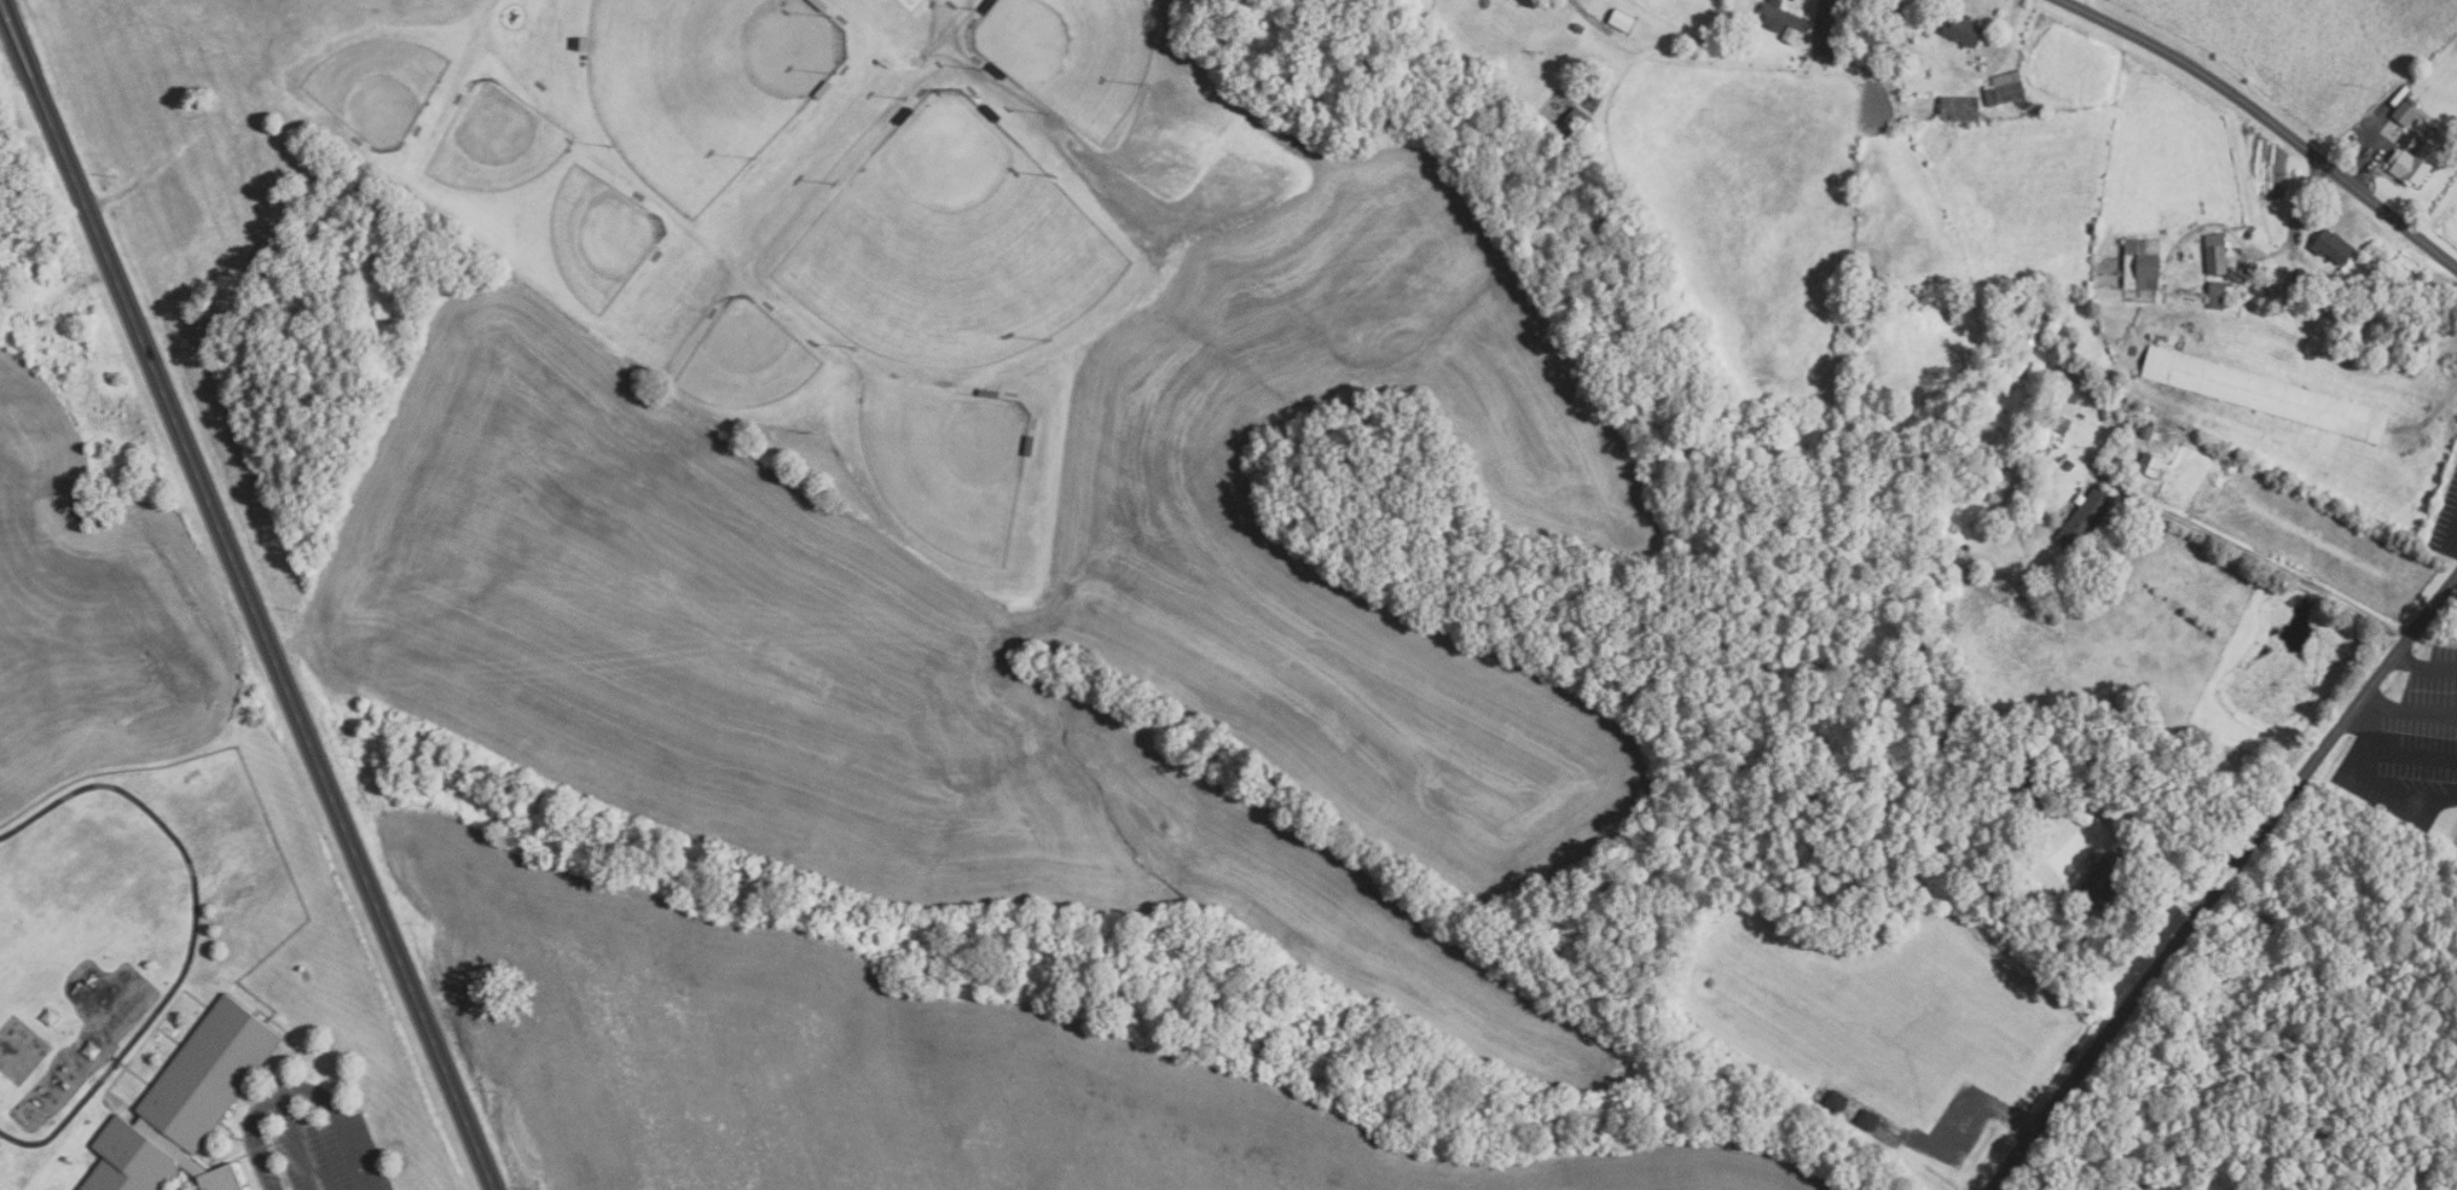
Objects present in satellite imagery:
building: (1888, 16)
building: (1780, 17)
building: (1621, 21)
building: (1578, 28)
building: (1964, 30)
building: (1791, 34)
building: (1926, 34)
park: (1073, 54)
building: (1823, 54)
park: (706, 83)
building: (2006, 91)
building: (1959, 109)
building: (2405, 114)
road: (2268, 120)
road: (2365, 155)
building: (2415, 164)
road: (2302, 199)
crop: (2445, 217)
park: (952, 246)
building: (2334, 246)
building: (2215, 254)
building: (2142, 263)
building: (2301, 283)
building: (2216, 295)
building: (2075, 384)
building: (2265, 393)
building: (2073, 396)
road: (2429, 413)
building: (2062, 423)
building: (2146, 430)
building: (2150, 463)
building: (2069, 464)
building: (2086, 517)
parking lot: (2446, 526)
road: (2455, 538)
road: (2258, 557)
building: (2030, 590)
road: (247, 594)
crop: (1049, 605)
road: (2424, 666)
road: (2406, 713)
parking lot: (2409, 748)
road: (2399, 750)
parking lot: (2456, 840)
road: (2220, 881)
building: (2100, 884)
road: (192, 931)
crop: (1879, 1009)
building: (51, 1017)
park: (19, 1049)
building: (92, 1050)
crop: (874, 1062)
building: (208, 1072)
road: (296, 1087)
building: (1837, 1099)
building: (1868, 1120)
road: (299, 1140)
building: (128, 1160)
building: (220, 1178)

